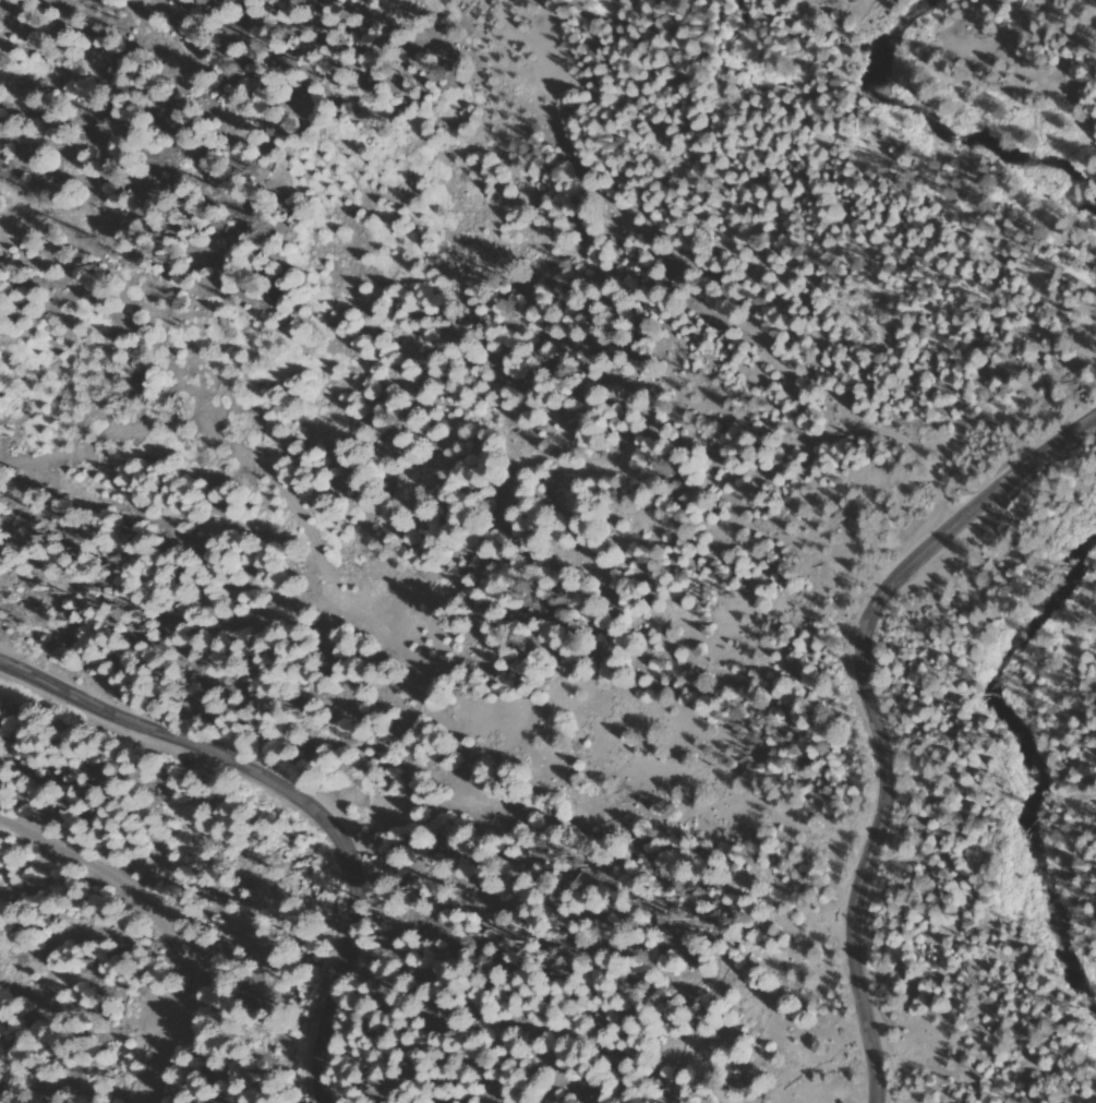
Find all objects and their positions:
road: (226, 367)
road: (860, 708)
road: (298, 803)
road: (166, 922)

